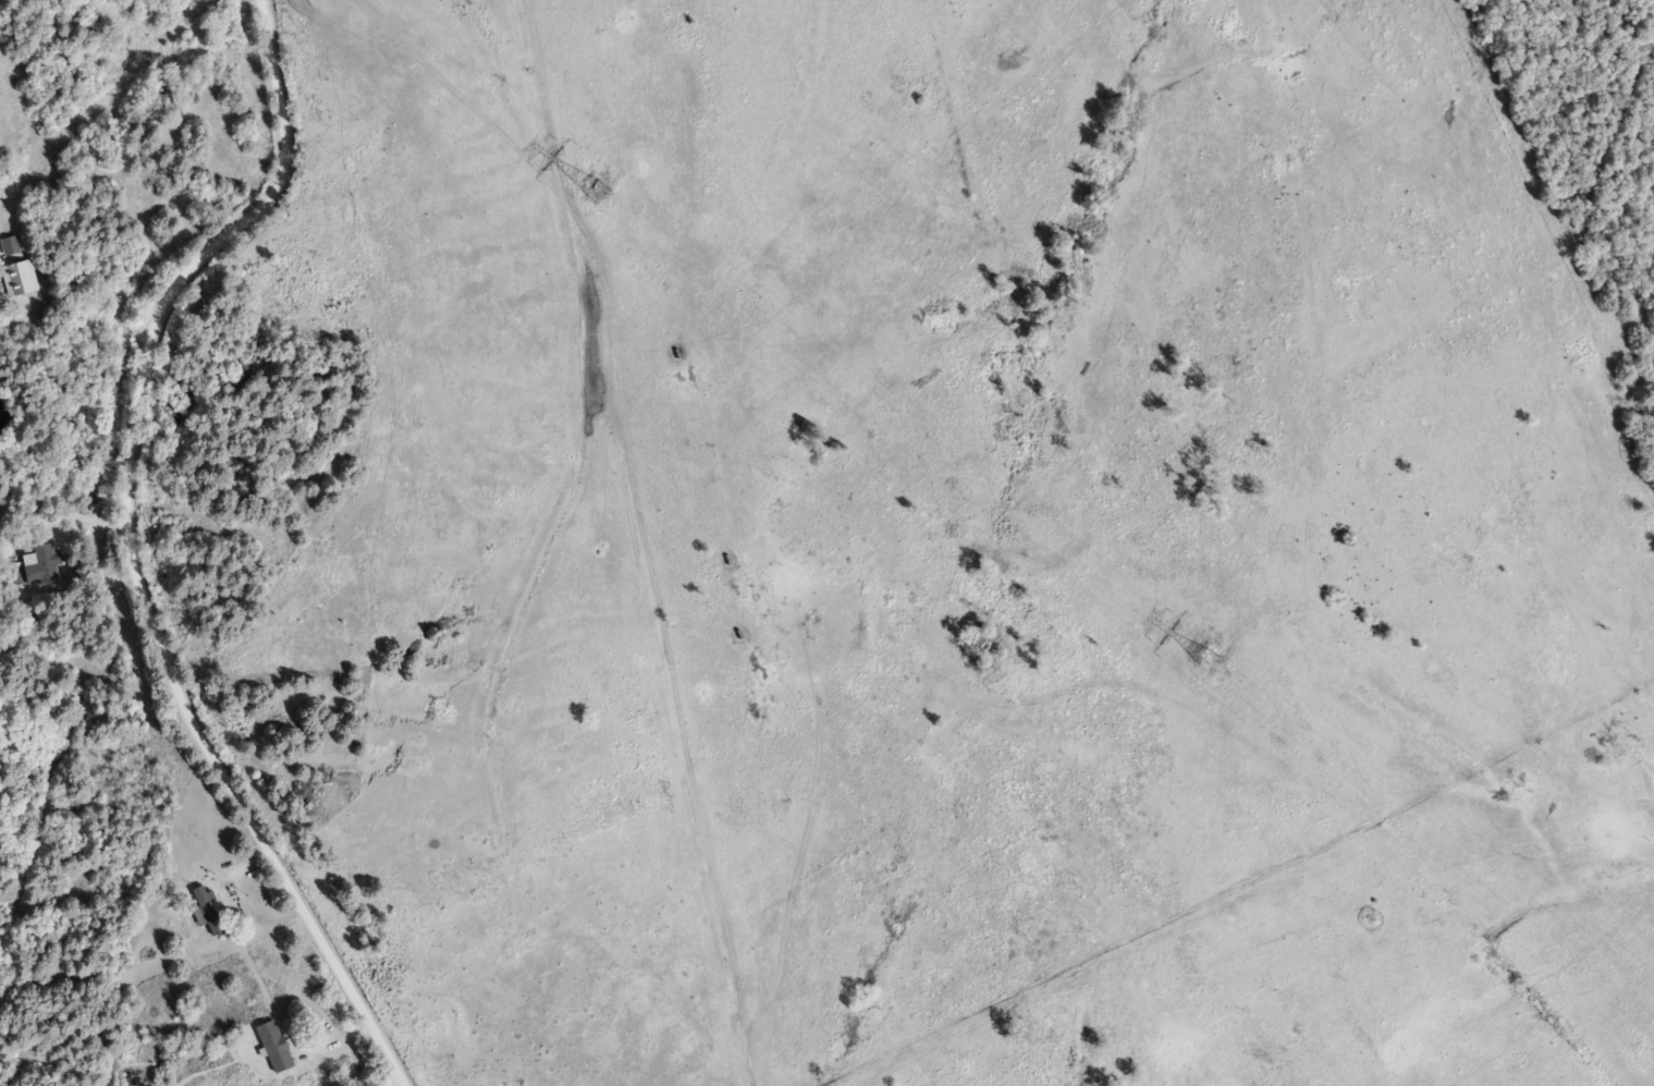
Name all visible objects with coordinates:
power tower: (591, 191)
building: (13, 244)
building: (24, 277)
road: (131, 548)
building: (46, 561)
power tower: (1199, 657)
road: (229, 869)
building: (209, 907)
building: (268, 1042)
road: (336, 1048)
road: (397, 1083)

